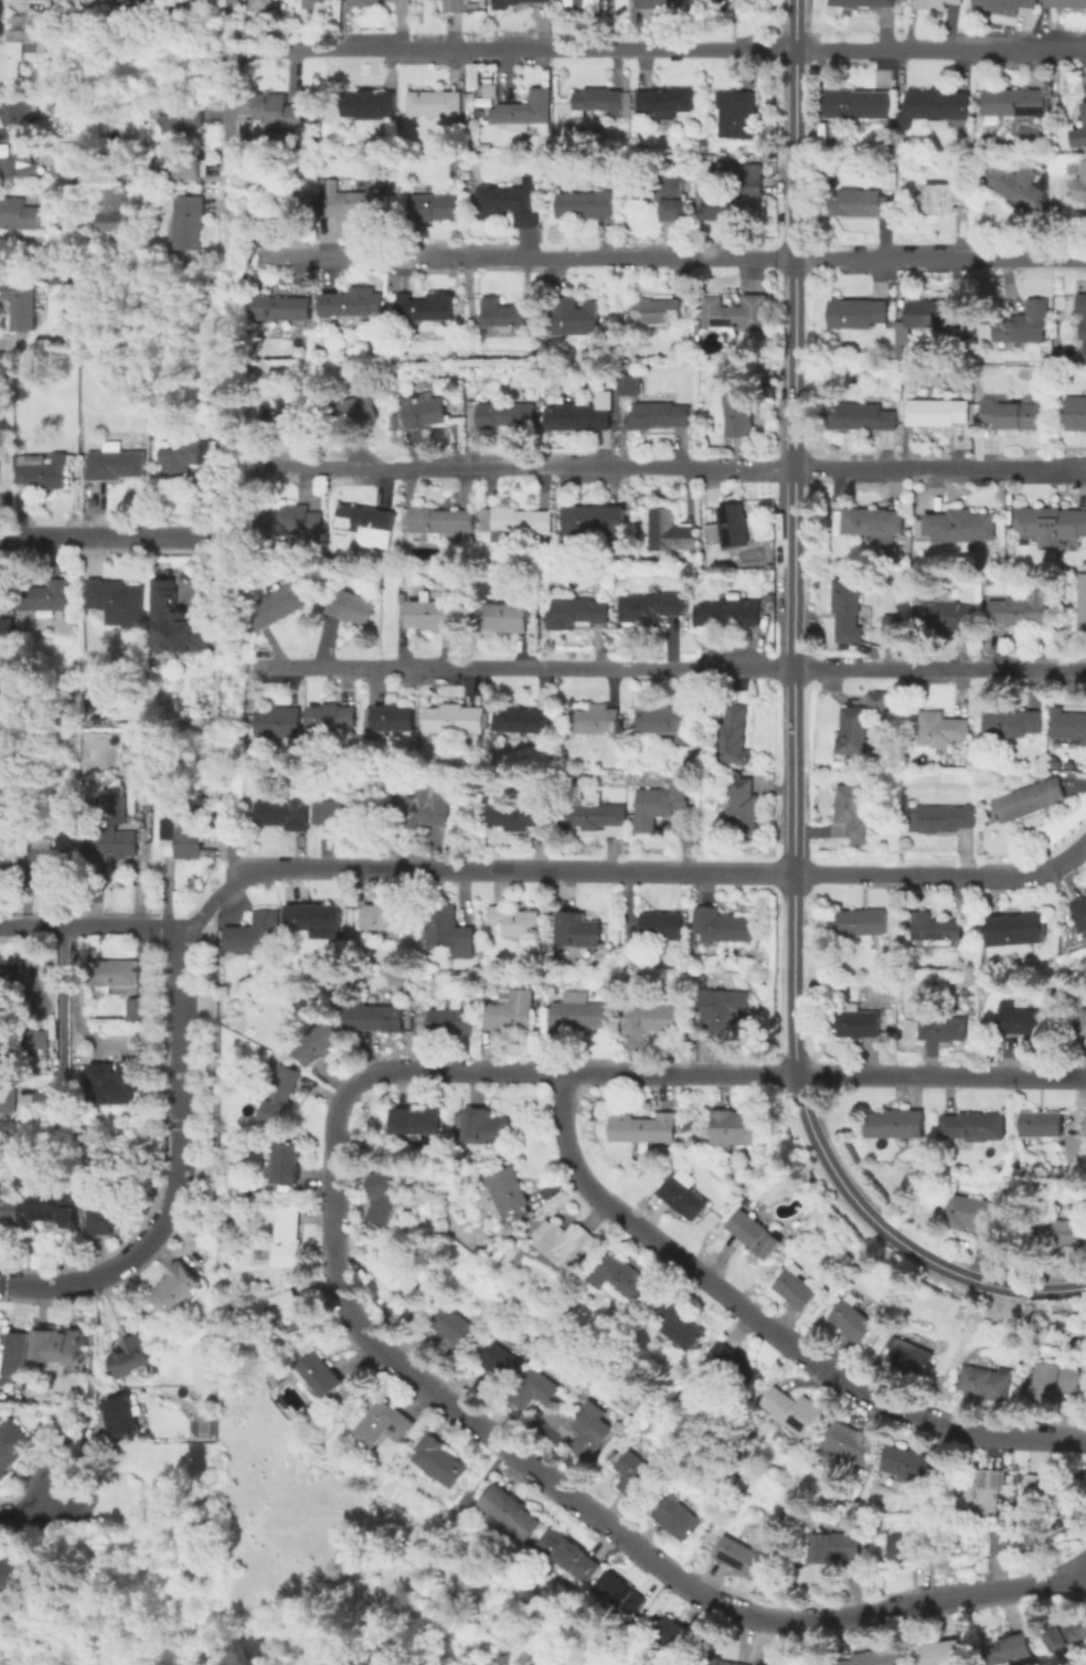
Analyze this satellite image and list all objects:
building: (315, 1)
building: (362, 2)
building: (1067, 2)
building: (307, 3)
building: (720, 3)
building: (865, 3)
building: (938, 3)
building: (520, 4)
building: (585, 4)
building: (661, 4)
building: (156, 6)
building: (263, 6)
building: (1007, 6)
building: (457, 7)
building: (21, 44)
road: (658, 50)
building: (1014, 102)
building: (598, 104)
building: (667, 104)
building: (863, 105)
building: (369, 106)
building: (940, 106)
building: (436, 107)
building: (279, 110)
building: (1085, 110)
building: (525, 113)
building: (18, 115)
building: (736, 117)
road: (230, 118)
building: (181, 120)
building: (904, 125)
building: (1079, 136)
building: (17, 162)
building: (179, 163)
building: (273, 185)
building: (1082, 188)
building: (1016, 189)
building: (662, 195)
building: (738, 197)
building: (941, 200)
building: (299, 203)
building: (353, 203)
building: (509, 204)
building: (862, 205)
building: (434, 208)
building: (585, 208)
building: (114, 209)
building: (18, 215)
building: (72, 221)
building: (190, 222)
road: (663, 257)
building: (62, 280)
building: (22, 303)
building: (354, 305)
building: (1082, 305)
building: (283, 310)
building: (428, 310)
building: (738, 311)
building: (659, 314)
building: (939, 314)
building: (858, 315)
building: (505, 317)
building: (578, 318)
building: (1028, 324)
building: (1084, 331)
building: (627, 383)
building: (353, 413)
building: (937, 413)
building: (266, 414)
building: (420, 414)
building: (504, 414)
building: (291, 415)
building: (1020, 415)
building: (1077, 415)
building: (581, 416)
building: (658, 416)
building: (742, 416)
building: (861, 420)
building: (184, 456)
building: (114, 464)
road: (668, 468)
building: (42, 470)
building: (712, 512)
building: (597, 518)
building: (290, 521)
building: (522, 521)
building: (873, 521)
building: (441, 523)
building: (368, 524)
building: (957, 524)
building: (1053, 526)
building: (735, 527)
building: (672, 533)
road: (99, 534)
building: (714, 534)
road: (794, 538)
building: (45, 597)
building: (117, 603)
building: (280, 604)
building: (1082, 606)
building: (352, 609)
building: (649, 611)
building: (1024, 611)
building: (849, 612)
building: (432, 613)
building: (945, 613)
building: (576, 614)
building: (728, 615)
building: (505, 617)
building: (178, 624)
building: (890, 624)
building: (6, 629)
road: (672, 668)
building: (102, 693)
building: (0, 697)
building: (333, 718)
building: (597, 719)
building: (458, 720)
building: (388, 721)
building: (278, 722)
building: (861, 722)
building: (522, 723)
building: (669, 723)
building: (1013, 724)
building: (1071, 728)
building: (945, 731)
building: (734, 736)
building: (131, 751)
building: (1, 787)
building: (397, 802)
building: (115, 803)
building: (1032, 803)
building: (427, 804)
building: (660, 804)
building: (341, 813)
building: (743, 813)
building: (285, 815)
building: (854, 815)
building: (519, 816)
building: (598, 818)
building: (943, 820)
building: (188, 832)
building: (114, 844)
building: (49, 859)
road: (477, 869)
road: (945, 877)
building: (1080, 915)
building: (381, 919)
building: (316, 921)
building: (515, 922)
building: (863, 924)
road: (89, 925)
building: (662, 926)
building: (724, 927)
building: (937, 929)
building: (578, 931)
building: (1018, 931)
building: (448, 932)
building: (254, 934)
building: (113, 976)
building: (7, 980)
road: (72, 991)
building: (722, 1010)
building: (139, 1011)
building: (512, 1011)
road: (62, 1012)
building: (581, 1012)
building: (376, 1019)
building: (651, 1019)
building: (454, 1020)
building: (1022, 1021)
building: (1083, 1021)
building: (861, 1026)
building: (944, 1027)
building: (42, 1040)
building: (321, 1047)
road: (180, 1059)
road: (725, 1074)
building: (119, 1083)
building: (281, 1097)
building: (9, 1099)
building: (418, 1123)
building: (897, 1125)
building: (1043, 1126)
building: (483, 1127)
building: (975, 1128)
building: (645, 1130)
building: (737, 1130)
building: (1078, 1148)
building: (287, 1165)
building: (512, 1195)
building: (384, 1198)
building: (683, 1199)
building: (55, 1210)
building: (108, 1212)
building: (12, 1213)
building: (971, 1213)
building: (1064, 1234)
building: (755, 1237)
building: (288, 1240)
building: (565, 1240)
road: (897, 1241)
road: (108, 1272)
building: (398, 1275)
building: (620, 1279)
building: (178, 1288)
building: (800, 1290)
building: (387, 1301)
building: (296, 1314)
building: (852, 1322)
building: (451, 1327)
building: (683, 1327)
road: (768, 1329)
building: (62, 1347)
road: (95, 1353)
building: (911, 1357)
building: (15, 1359)
building: (134, 1361)
building: (735, 1364)
building: (499, 1370)
building: (319, 1377)
building: (987, 1383)
building: (1055, 1383)
building: (536, 1390)
building: (794, 1410)
building: (123, 1418)
building: (382, 1425)
building: (593, 1429)
park: (200, 1430)
building: (850, 1444)
building: (11, 1446)
building: (440, 1463)
building: (914, 1465)
building: (638, 1476)
building: (1054, 1492)
building: (987, 1494)
road: (579, 1500)
road: (32, 1510)
building: (512, 1514)
building: (680, 1519)
building: (996, 1541)
building: (834, 1547)
building: (913, 1548)
building: (572, 1556)
building: (738, 1556)
building: (17, 1570)
building: (622, 1594)
building: (1068, 1632)
building: (673, 1634)
building: (1008, 1650)
building: (945, 1654)
building: (873, 1657)
building: (716, 1663)

